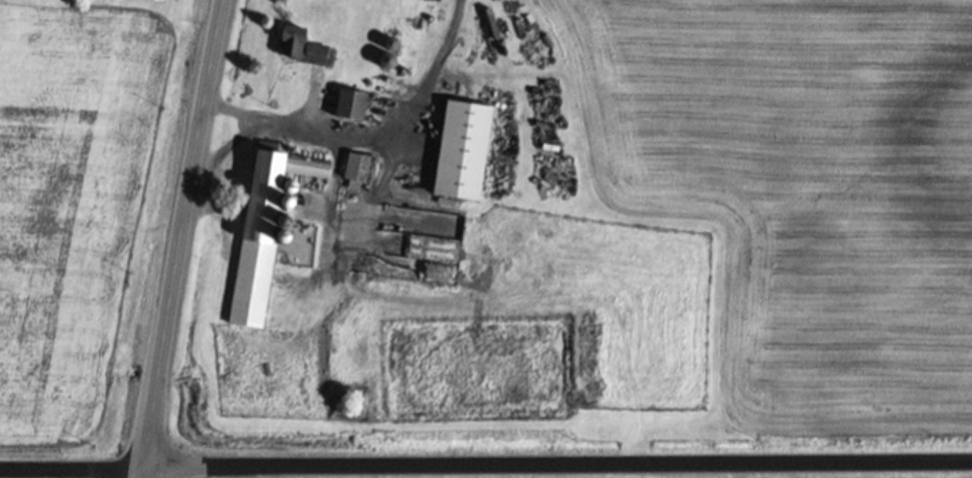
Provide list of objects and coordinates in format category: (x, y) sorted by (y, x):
building: (301, 46)
building: (352, 104)
road: (376, 133)
road: (232, 142)
building: (464, 149)
building: (309, 166)
building: (357, 166)
road: (186, 239)
building: (251, 282)
road: (560, 470)
road: (74, 473)

